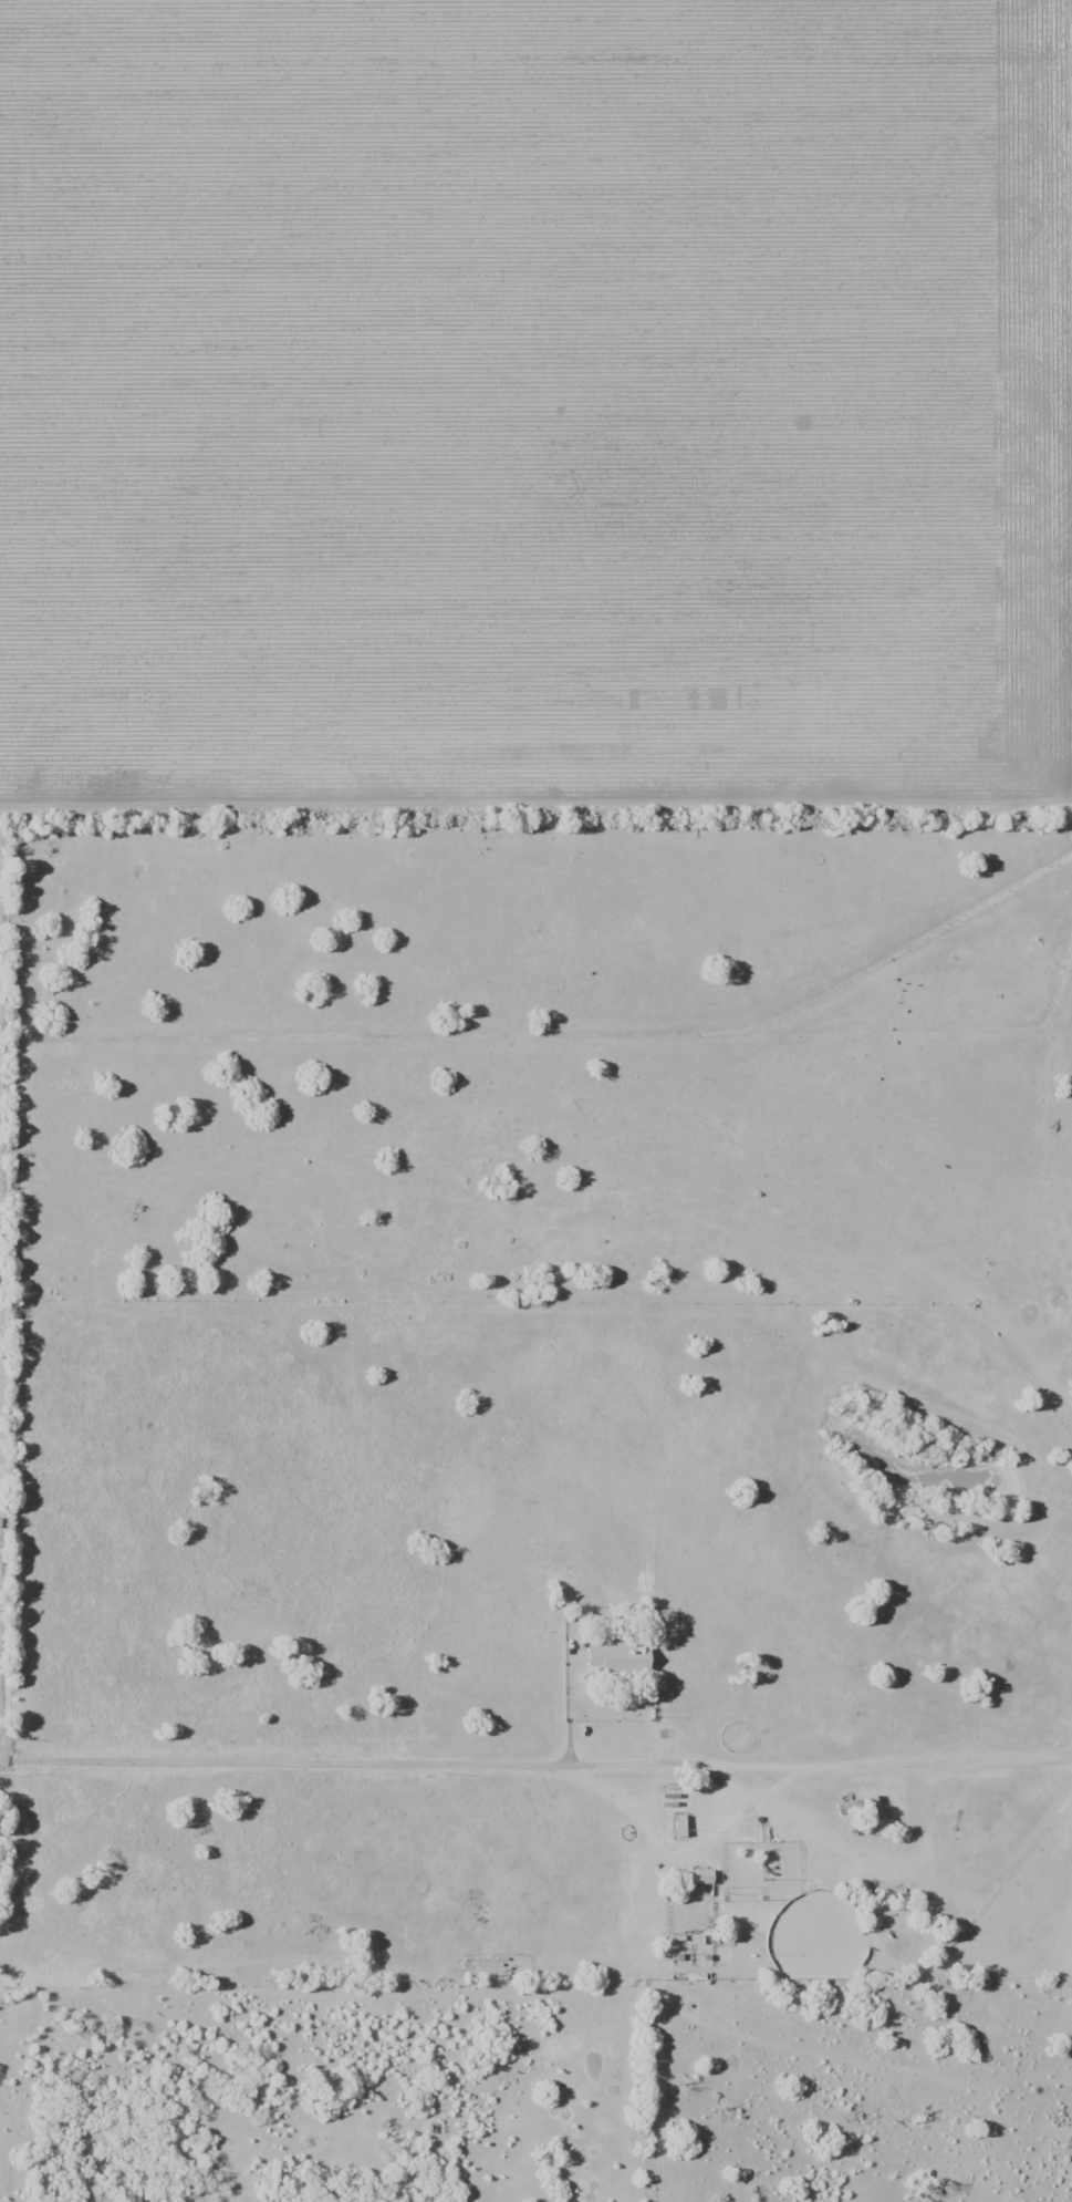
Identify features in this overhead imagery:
building: (614, 1656)
road: (10, 1756)
road: (314, 1758)
building: (856, 1807)
building: (676, 1823)
building: (689, 1874)

